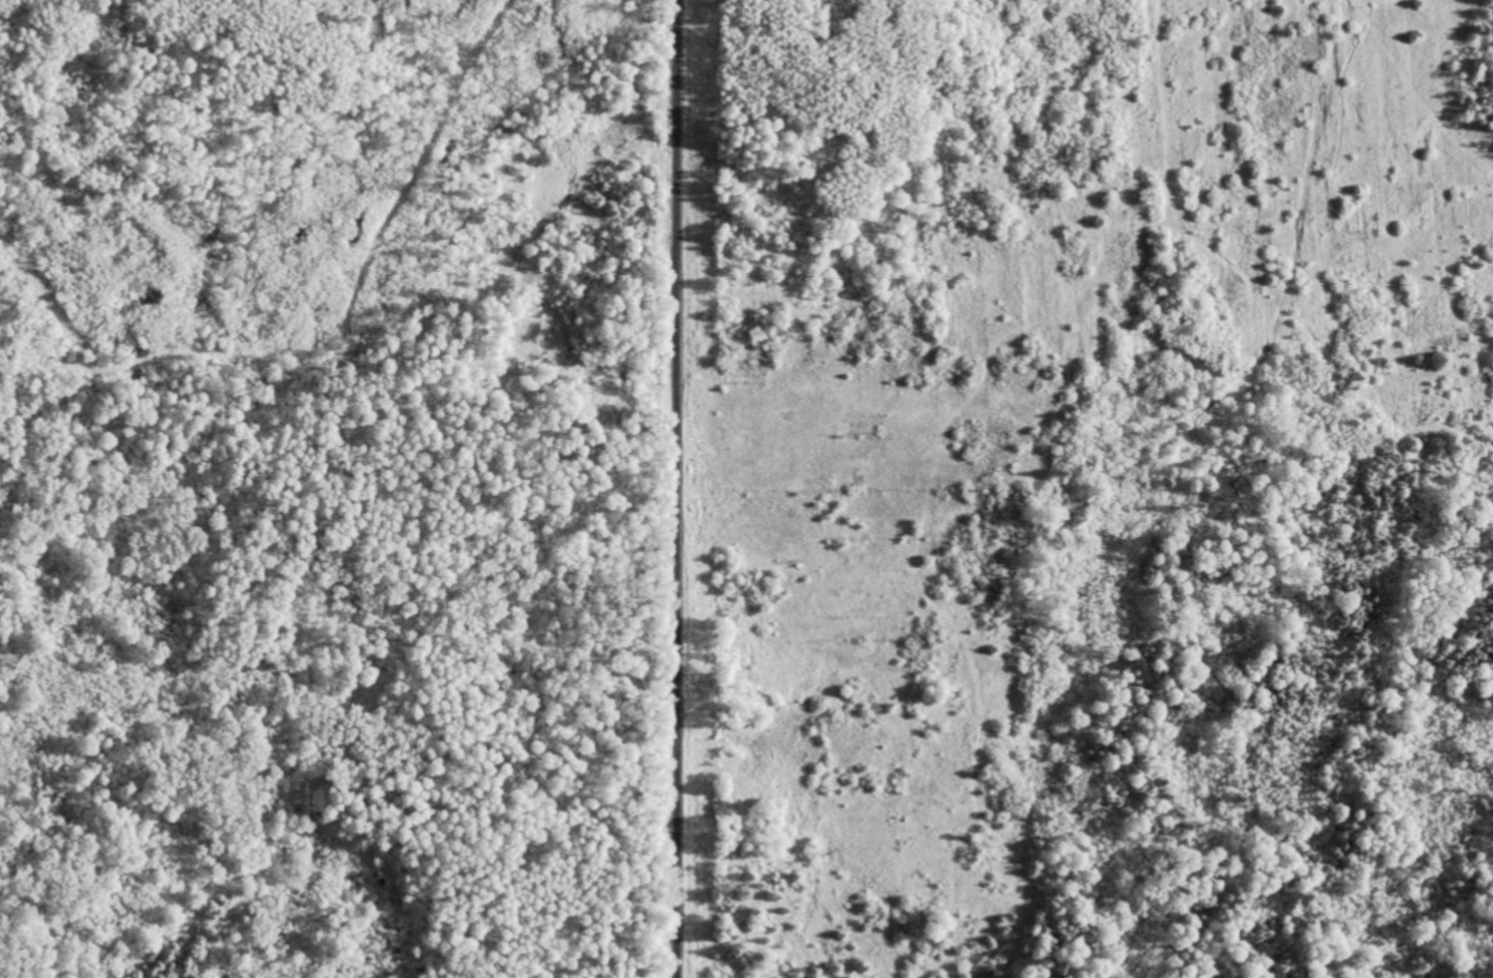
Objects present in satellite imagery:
road: (676, 489)

